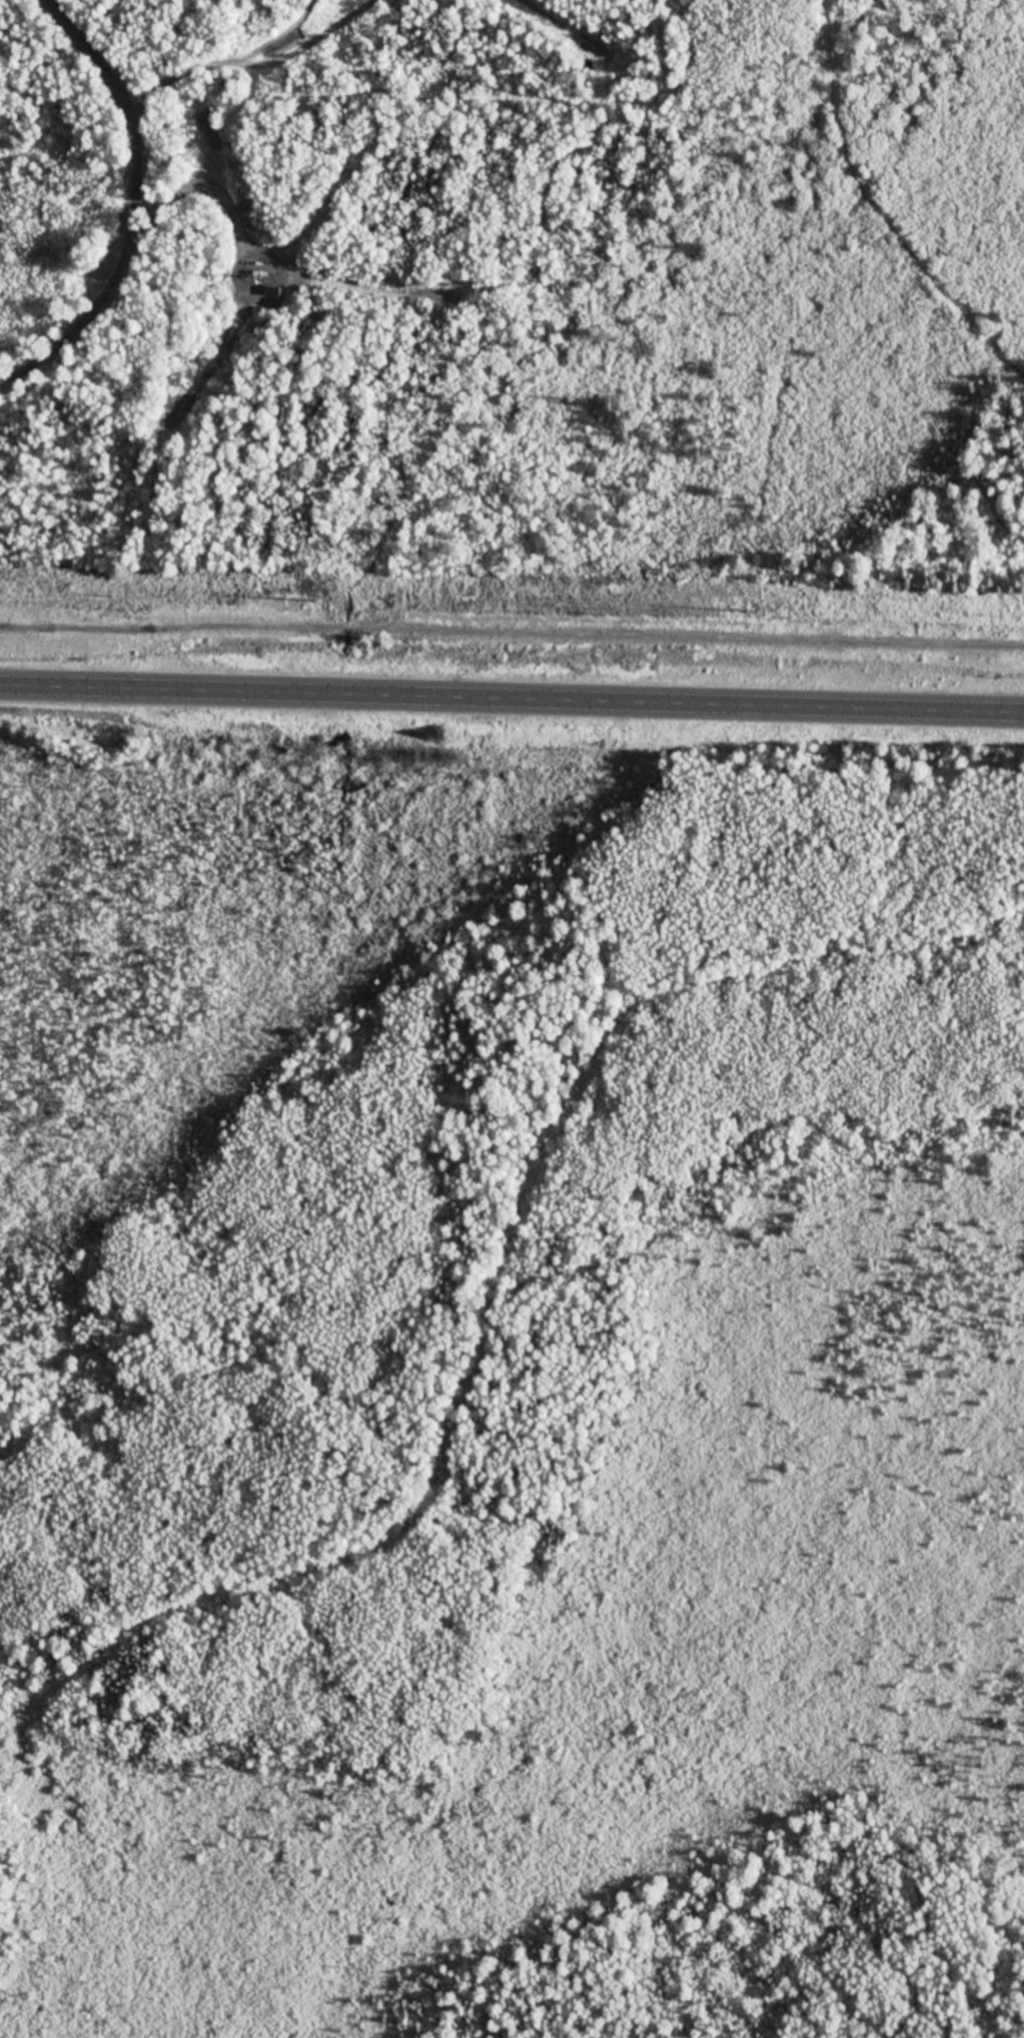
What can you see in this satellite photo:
road: (512, 699)

